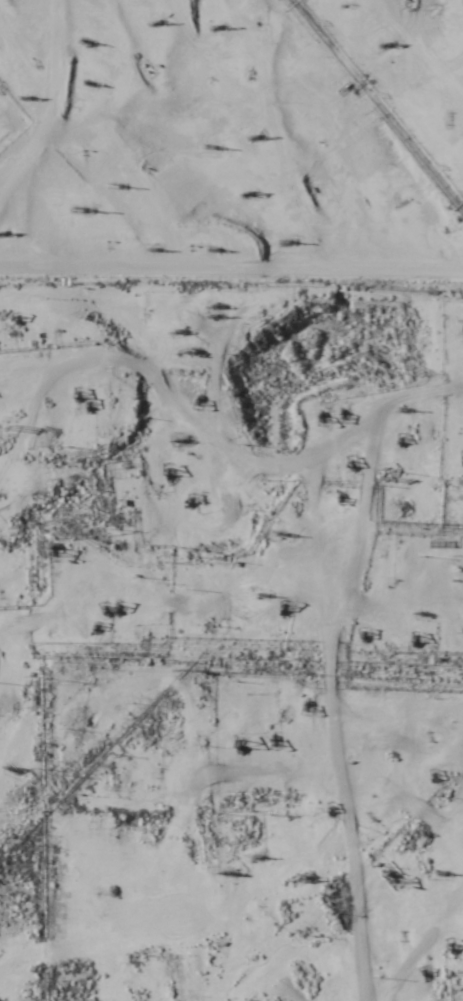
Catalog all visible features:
road: (329, 104)
road: (358, 869)
road: (447, 997)

